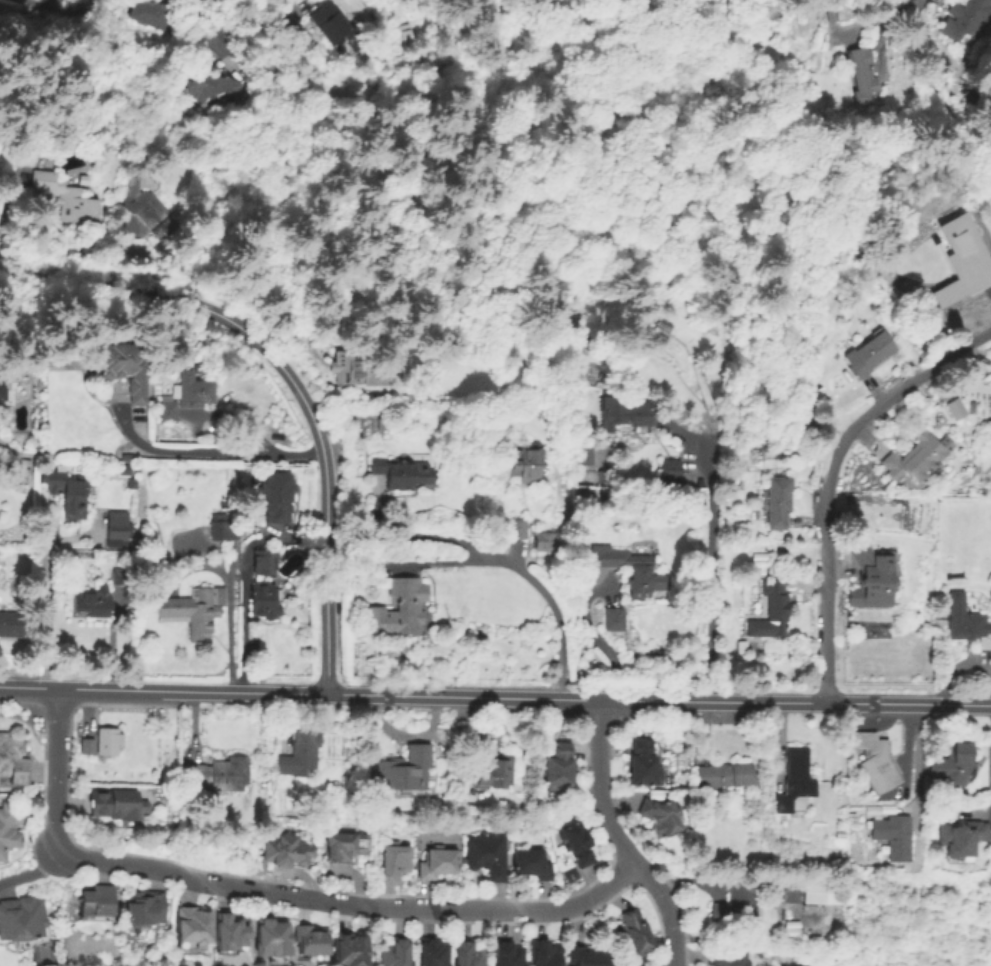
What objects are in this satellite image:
building: (49, 0)
building: (53, 0)
road: (909, 6)
road: (228, 10)
building: (153, 12)
building: (968, 16)
building: (336, 25)
building: (865, 74)
building: (207, 85)
road: (952, 93)
building: (25, 152)
building: (66, 197)
building: (151, 212)
road: (580, 232)
building: (962, 261)
building: (874, 353)
building: (360, 368)
building: (123, 369)
road: (288, 379)
building: (3, 388)
building: (194, 389)
building: (169, 408)
building: (954, 408)
building: (624, 411)
building: (384, 423)
road: (220, 452)
building: (588, 456)
building: (916, 458)
building: (528, 464)
building: (668, 471)
building: (132, 475)
building: (401, 475)
road: (827, 475)
building: (54, 478)
building: (278, 495)
building: (74, 499)
building: (782, 500)
building: (115, 528)
building: (222, 530)
building: (520, 530)
road: (444, 539)
building: (548, 541)
building: (264, 564)
road: (707, 570)
building: (635, 573)
road: (522, 574)
building: (119, 576)
building: (874, 578)
building: (264, 599)
building: (93, 602)
road: (44, 610)
building: (399, 610)
building: (193, 612)
building: (771, 613)
building: (616, 621)
building: (964, 622)
building: (10, 624)
road: (240, 633)
road: (226, 634)
road: (595, 638)
road: (957, 665)
building: (352, 667)
road: (495, 696)
road: (405, 736)
building: (108, 740)
building: (86, 746)
building: (300, 754)
building: (14, 760)
building: (874, 761)
road: (916, 763)
building: (642, 764)
building: (952, 765)
road: (52, 767)
building: (557, 768)
building: (494, 773)
building: (218, 774)
building: (404, 775)
building: (723, 775)
building: (794, 781)
building: (116, 804)
building: (513, 808)
building: (660, 817)
building: (852, 819)
building: (7, 830)
building: (840, 835)
building: (892, 835)
road: (619, 838)
building: (960, 840)
building: (342, 847)
building: (580, 847)
building: (286, 854)
building: (488, 856)
building: (395, 862)
building: (439, 864)
building: (532, 865)
road: (31, 871)
building: (568, 876)
building: (822, 893)
building: (96, 903)
road: (347, 903)
building: (736, 906)
building: (144, 908)
building: (22, 921)
building: (192, 930)
building: (634, 931)
building: (229, 932)
building: (271, 940)
building: (310, 945)
building: (351, 951)
building: (394, 953)
building: (545, 953)
building: (433, 954)
building: (469, 955)
building: (507, 955)
building: (585, 957)
building: (727, 957)

